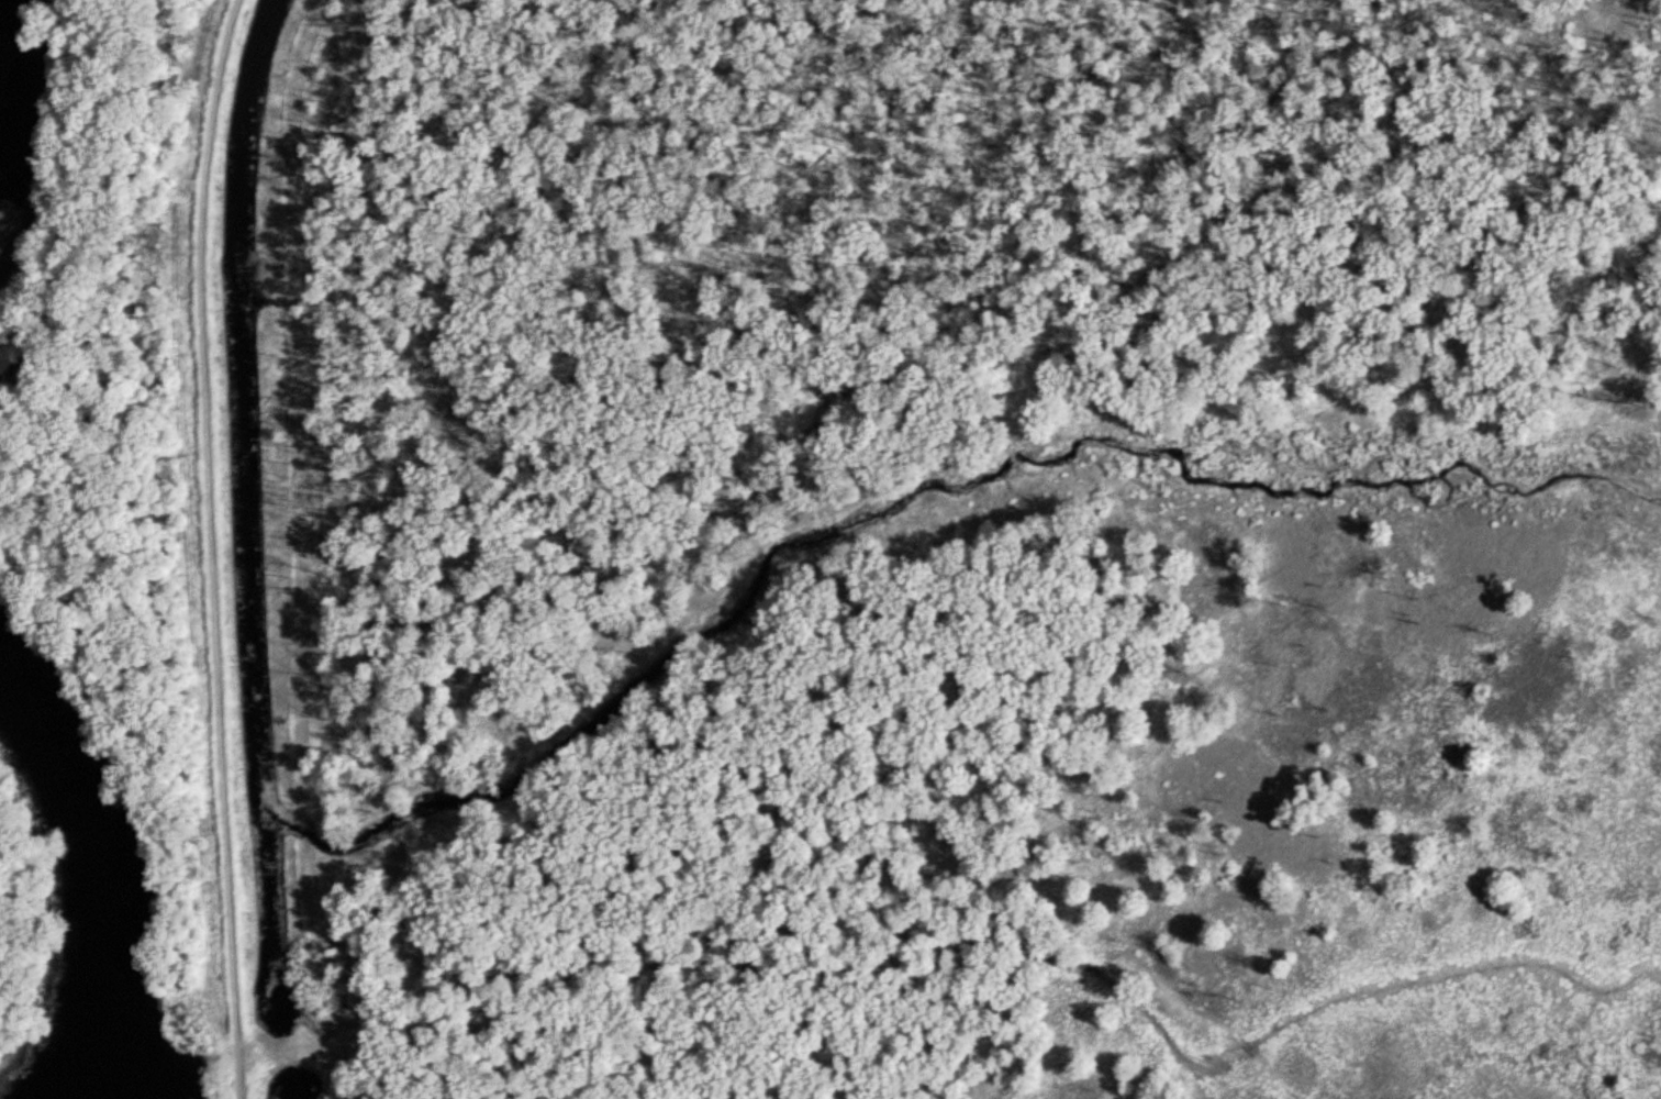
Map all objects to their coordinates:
road: (212, 556)
river: (77, 890)

